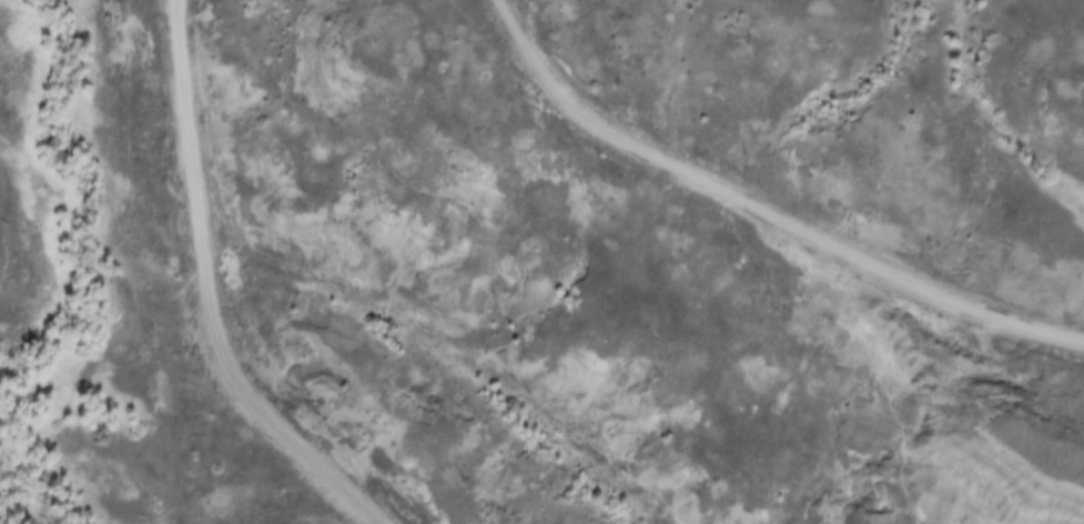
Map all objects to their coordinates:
road: (768, 205)
road: (201, 295)

